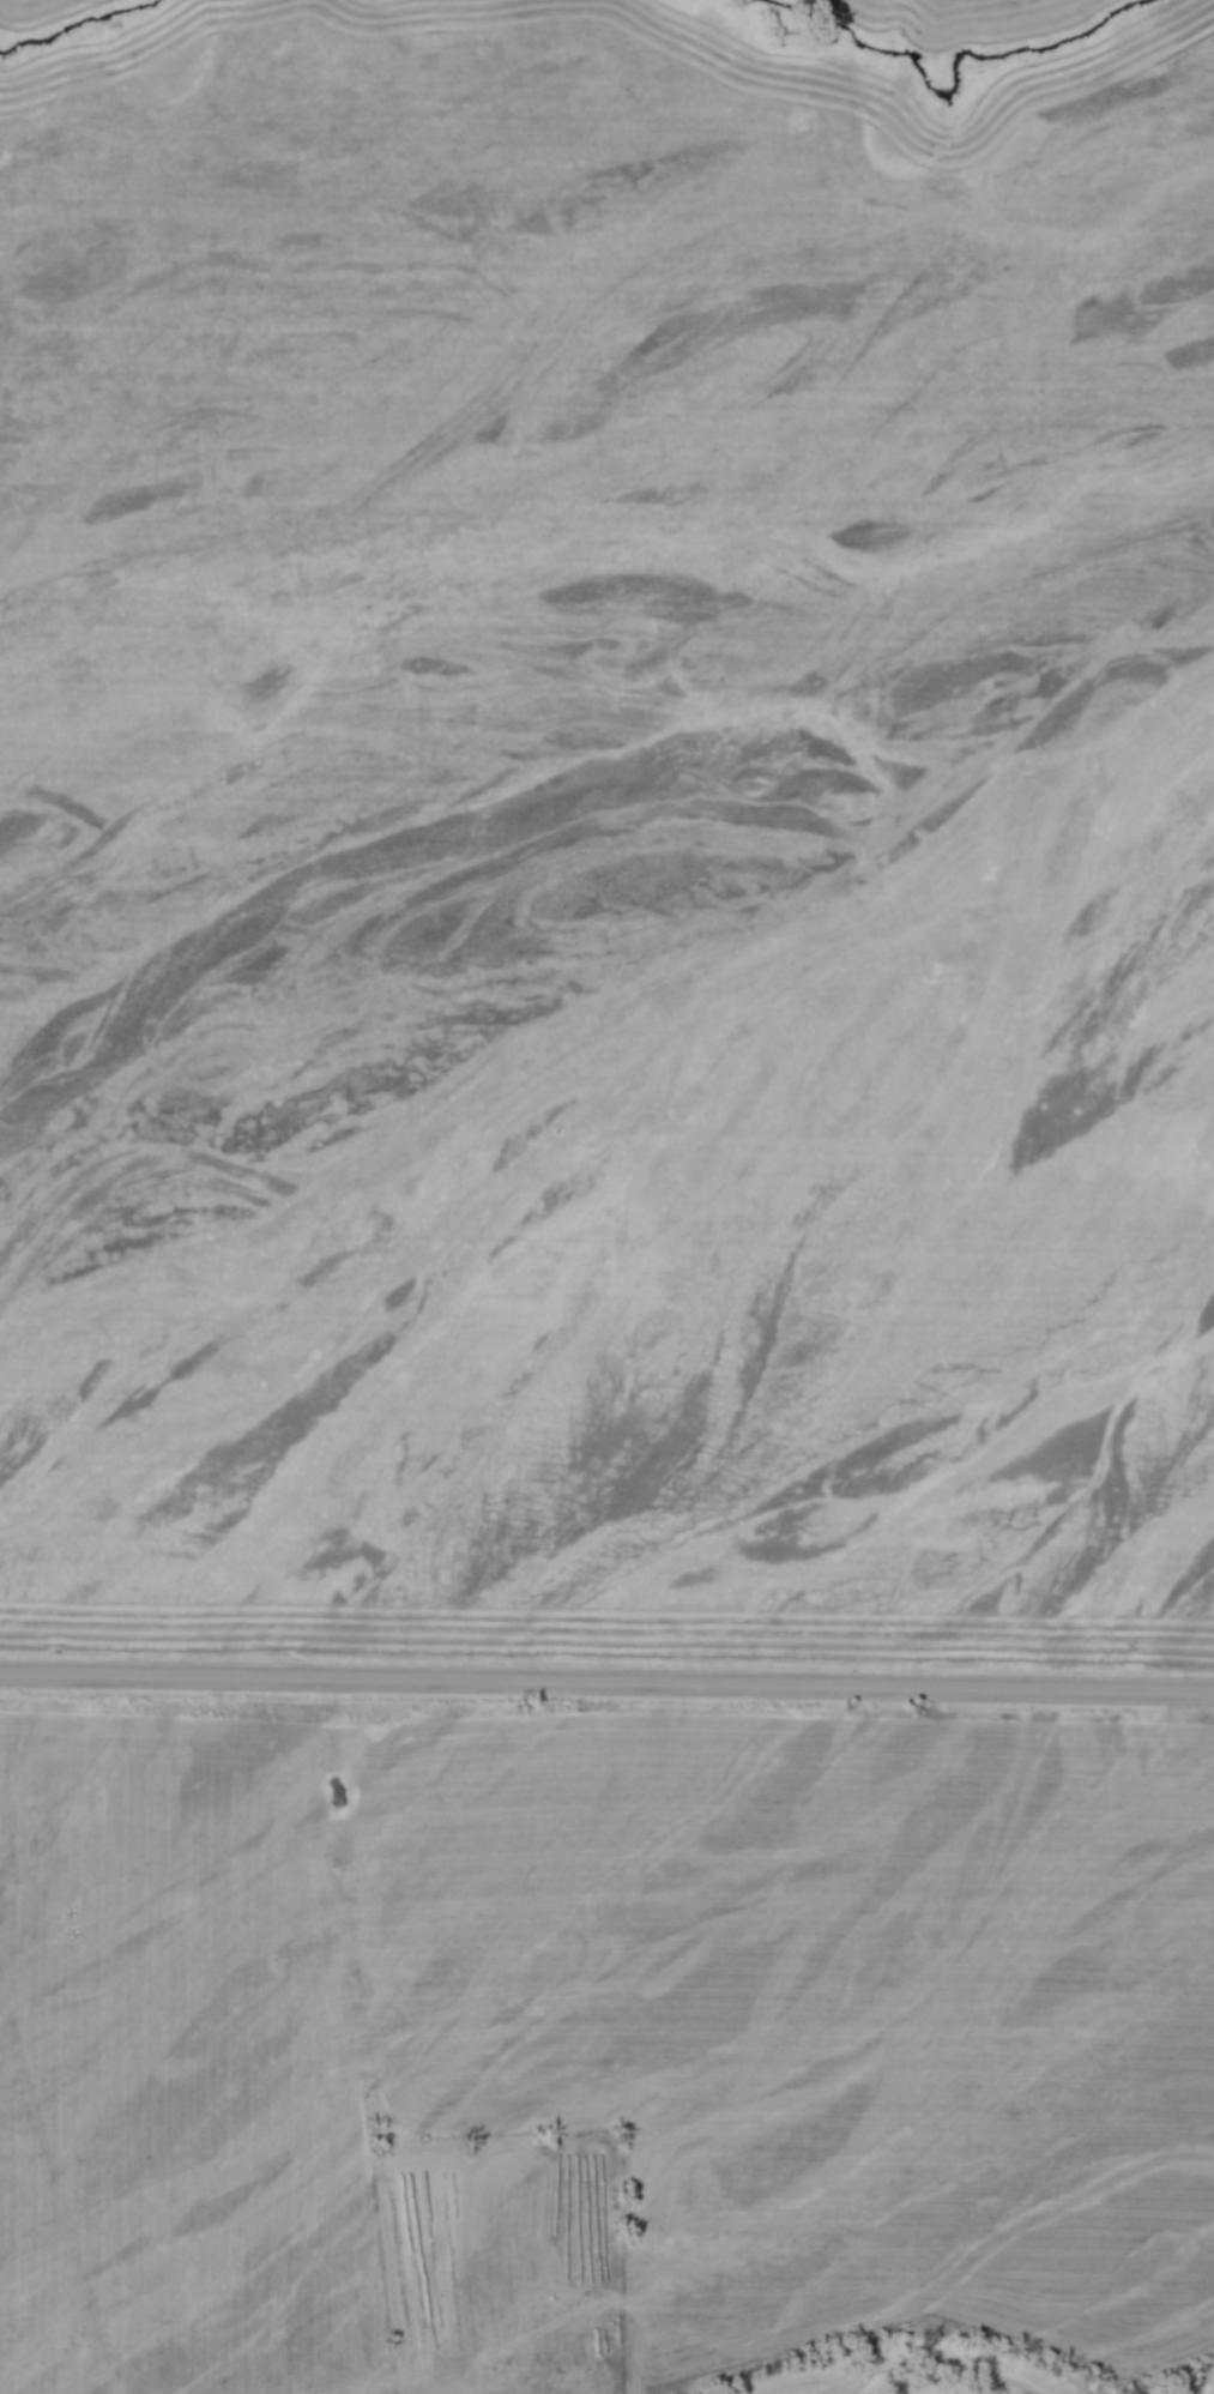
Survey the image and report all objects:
road: (606, 1682)

